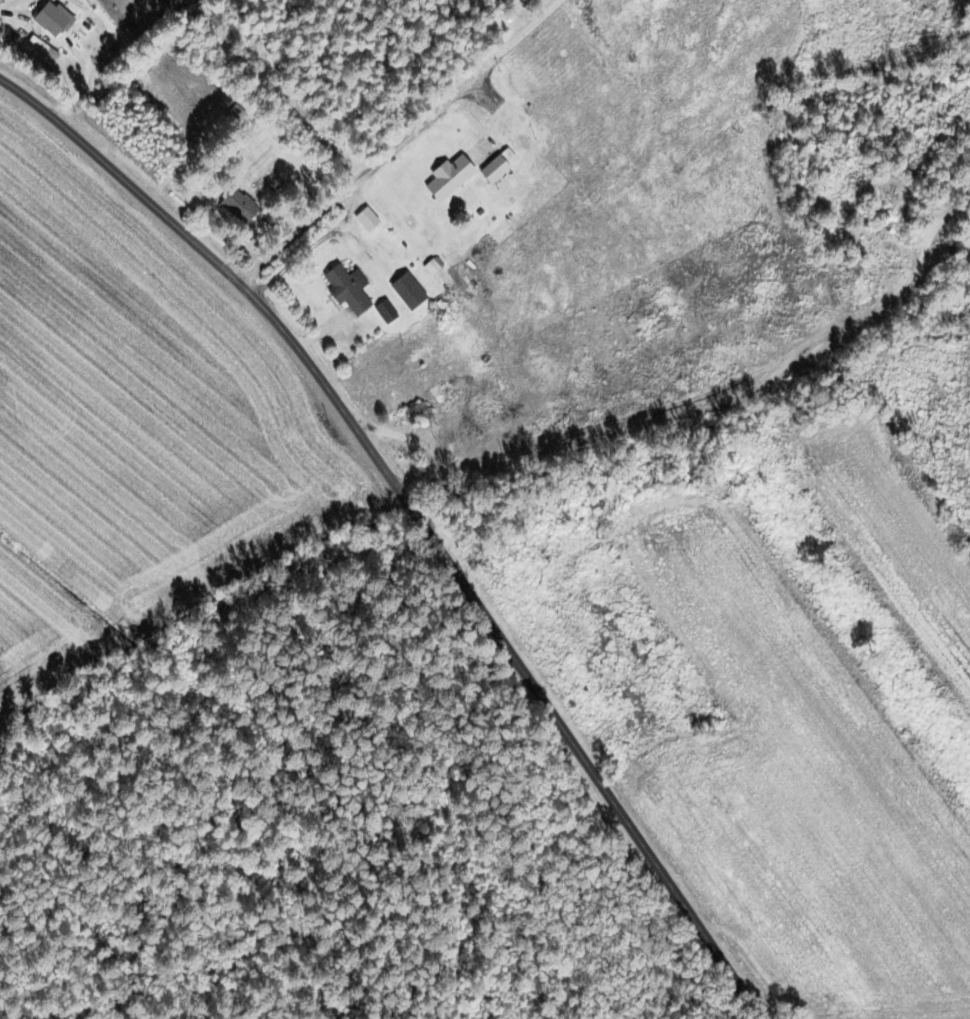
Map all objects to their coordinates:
building: (51, 20)
road: (84, 78)
building: (230, 117)
road: (400, 142)
building: (491, 169)
building: (445, 178)
building: (236, 206)
building: (364, 220)
building: (932, 261)
building: (344, 290)
building: (406, 292)
building: (383, 312)
building: (414, 415)
road: (418, 516)

